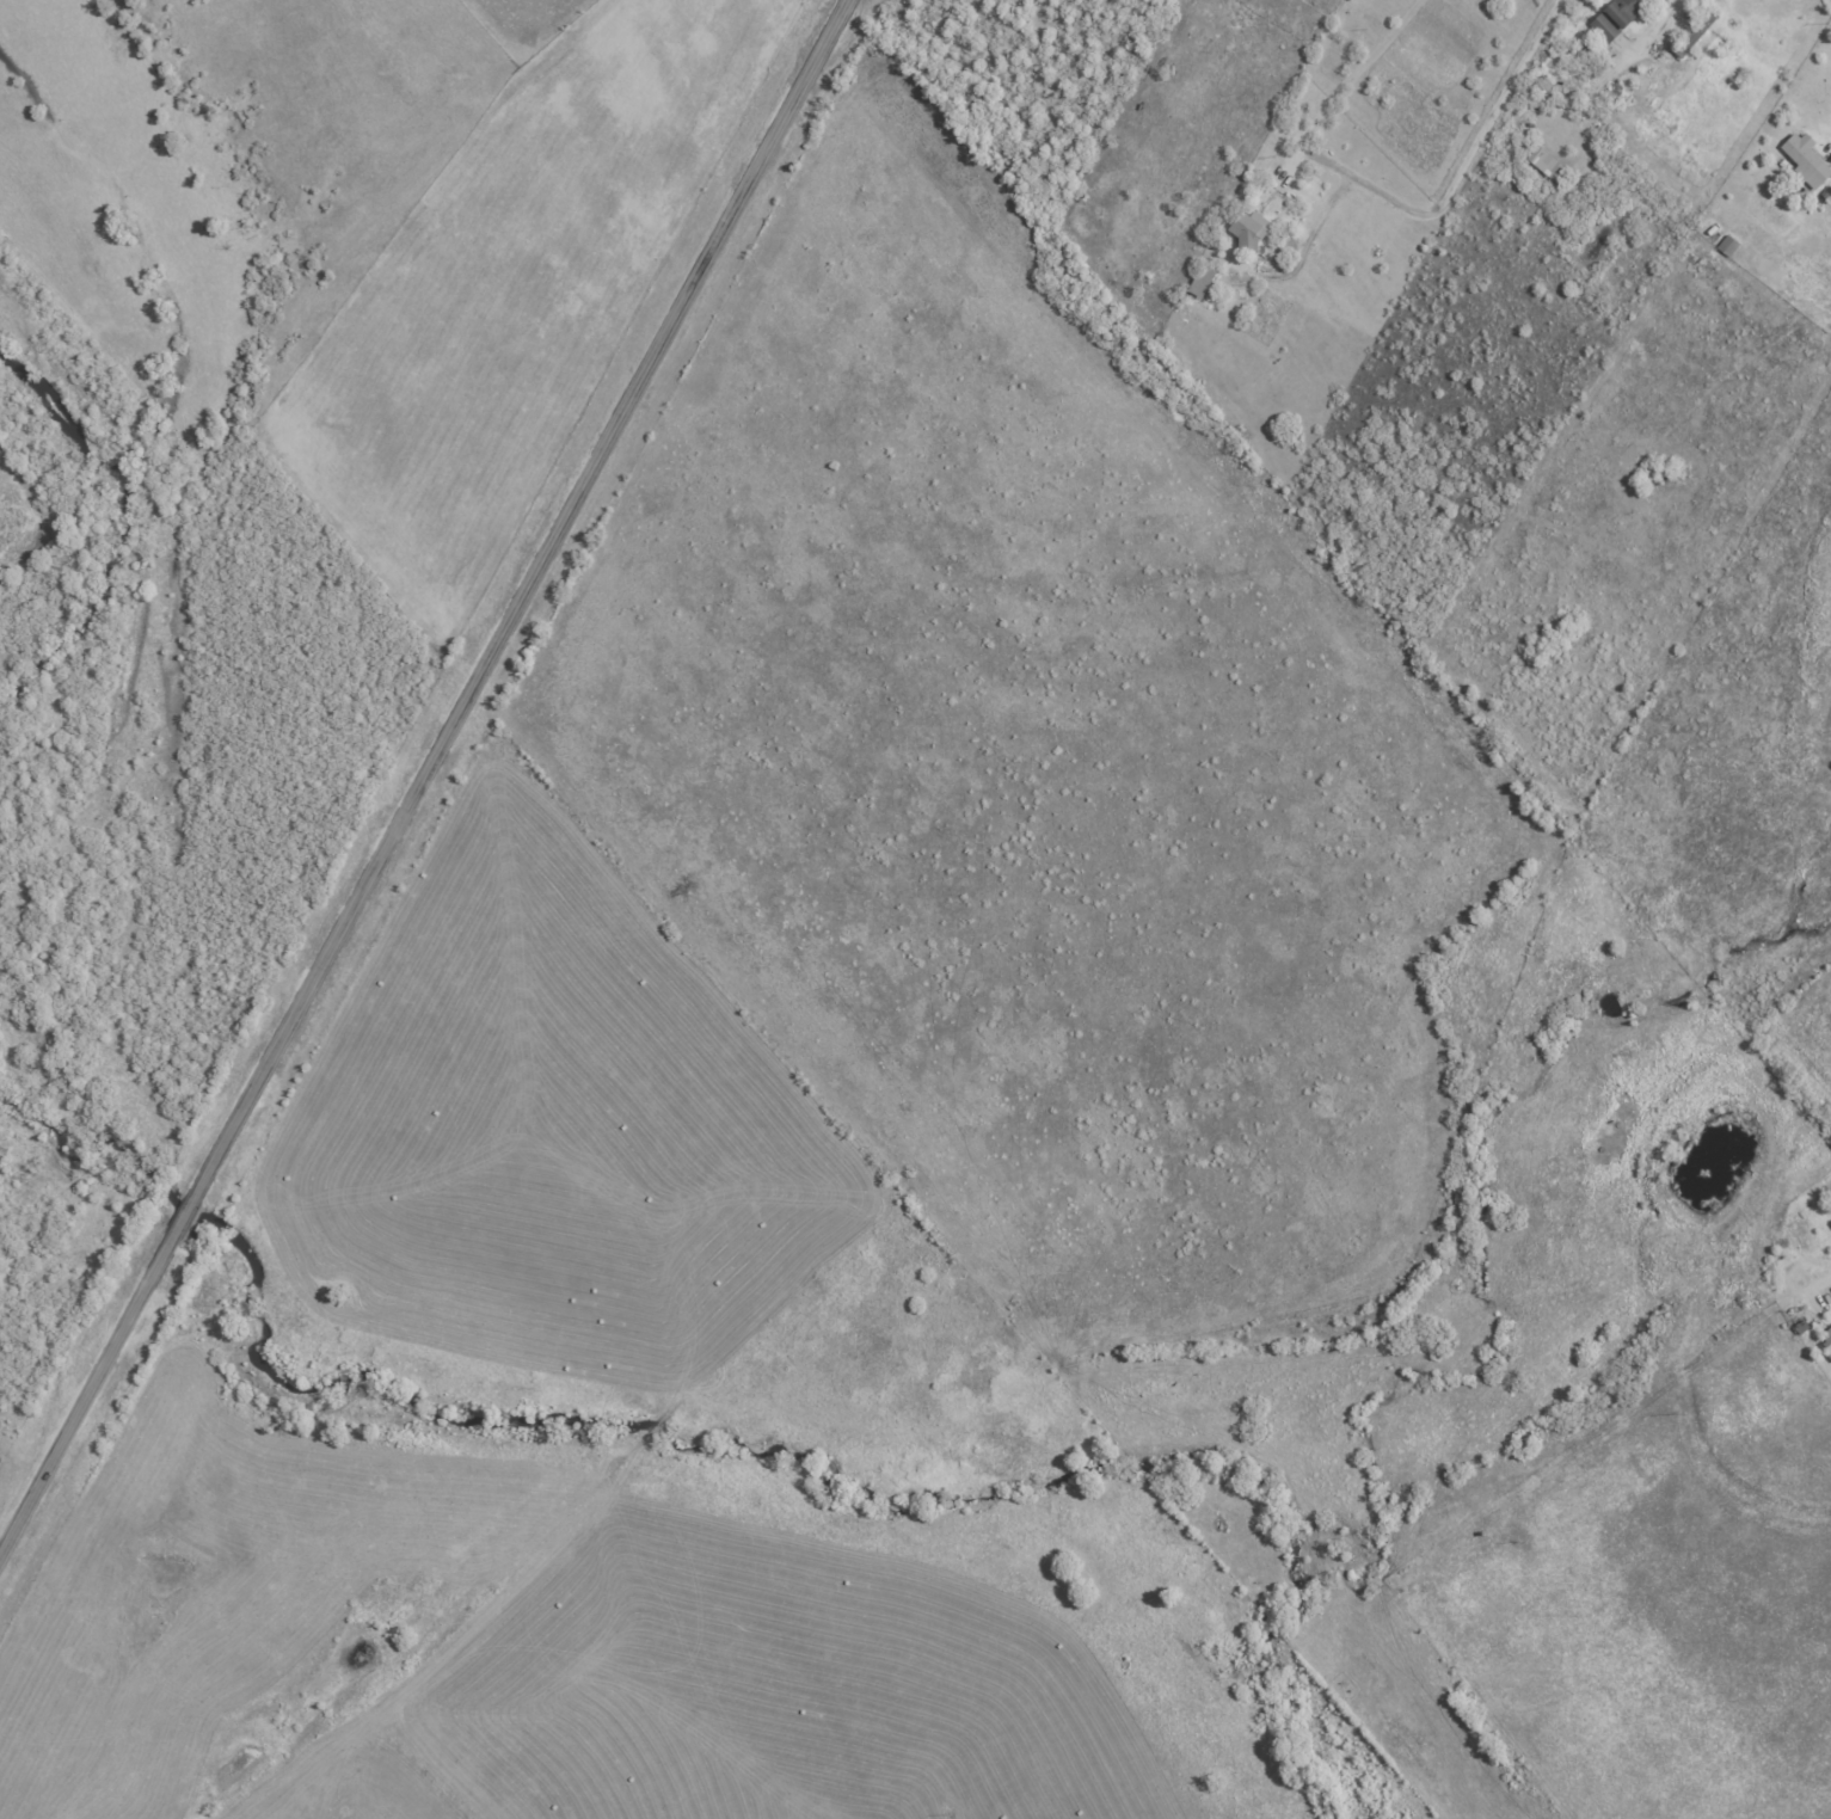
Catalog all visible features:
building: (1616, 18)
building: (1695, 35)
building: (1805, 159)
building: (1544, 162)
road: (1456, 180)
building: (1248, 229)
building: (1728, 246)
road: (1301, 250)
road: (424, 780)
building: (1826, 1339)

